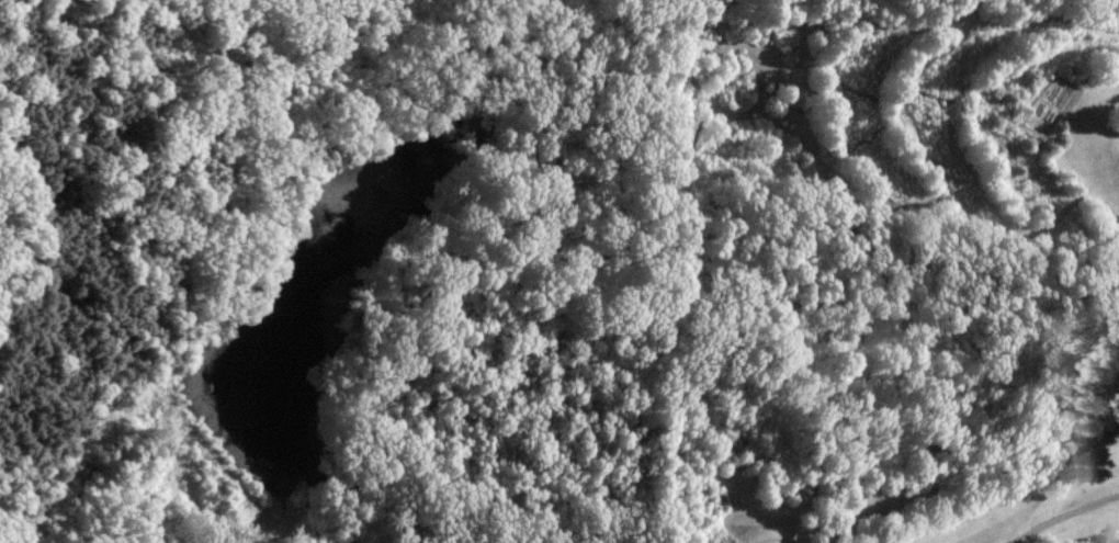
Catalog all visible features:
road: (1060, 514)

